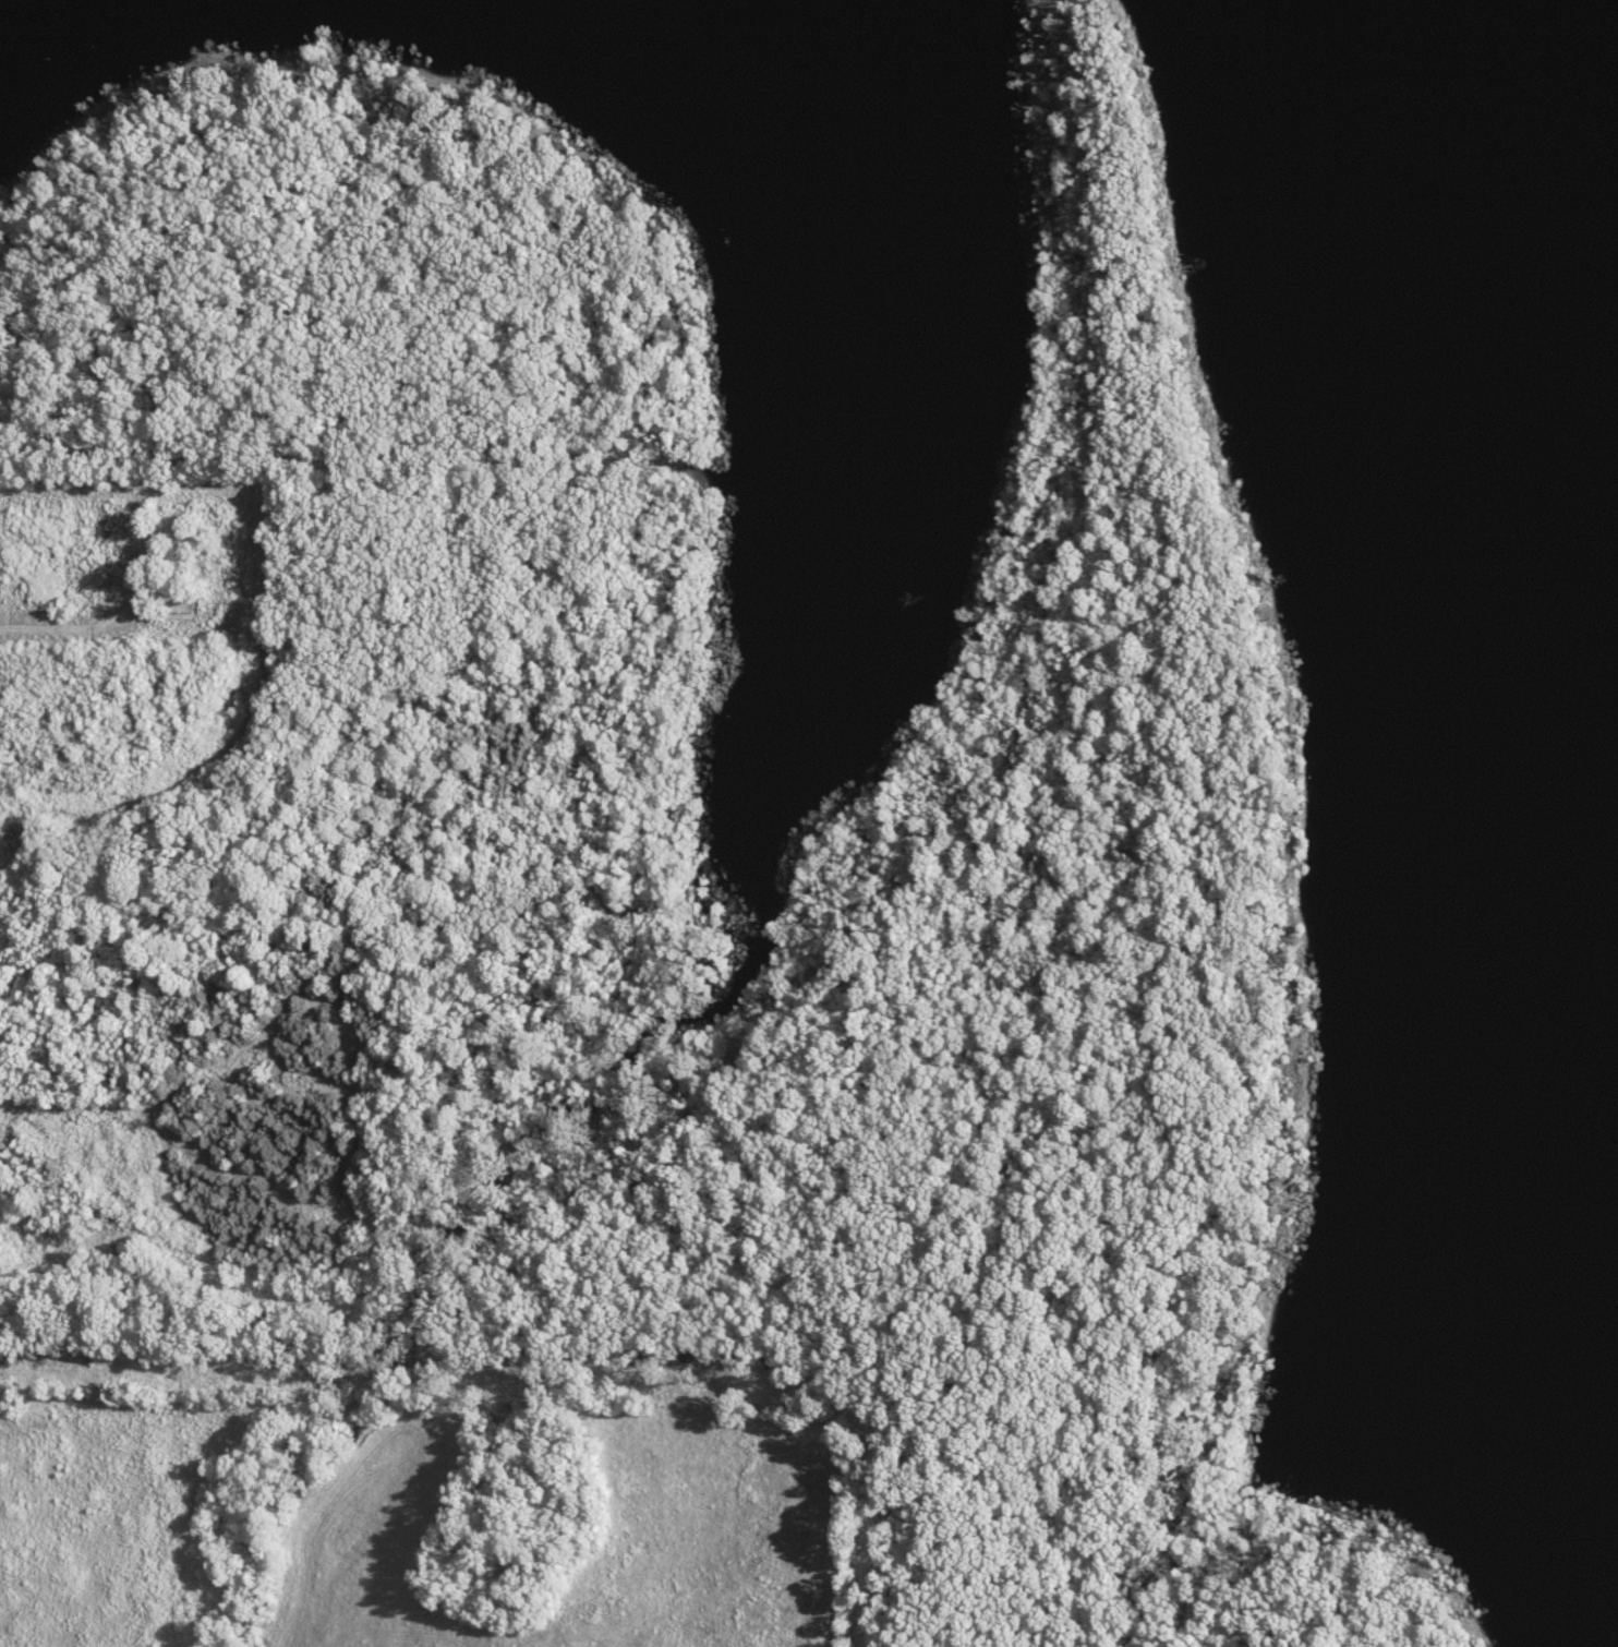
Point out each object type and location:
road: (76, 628)

